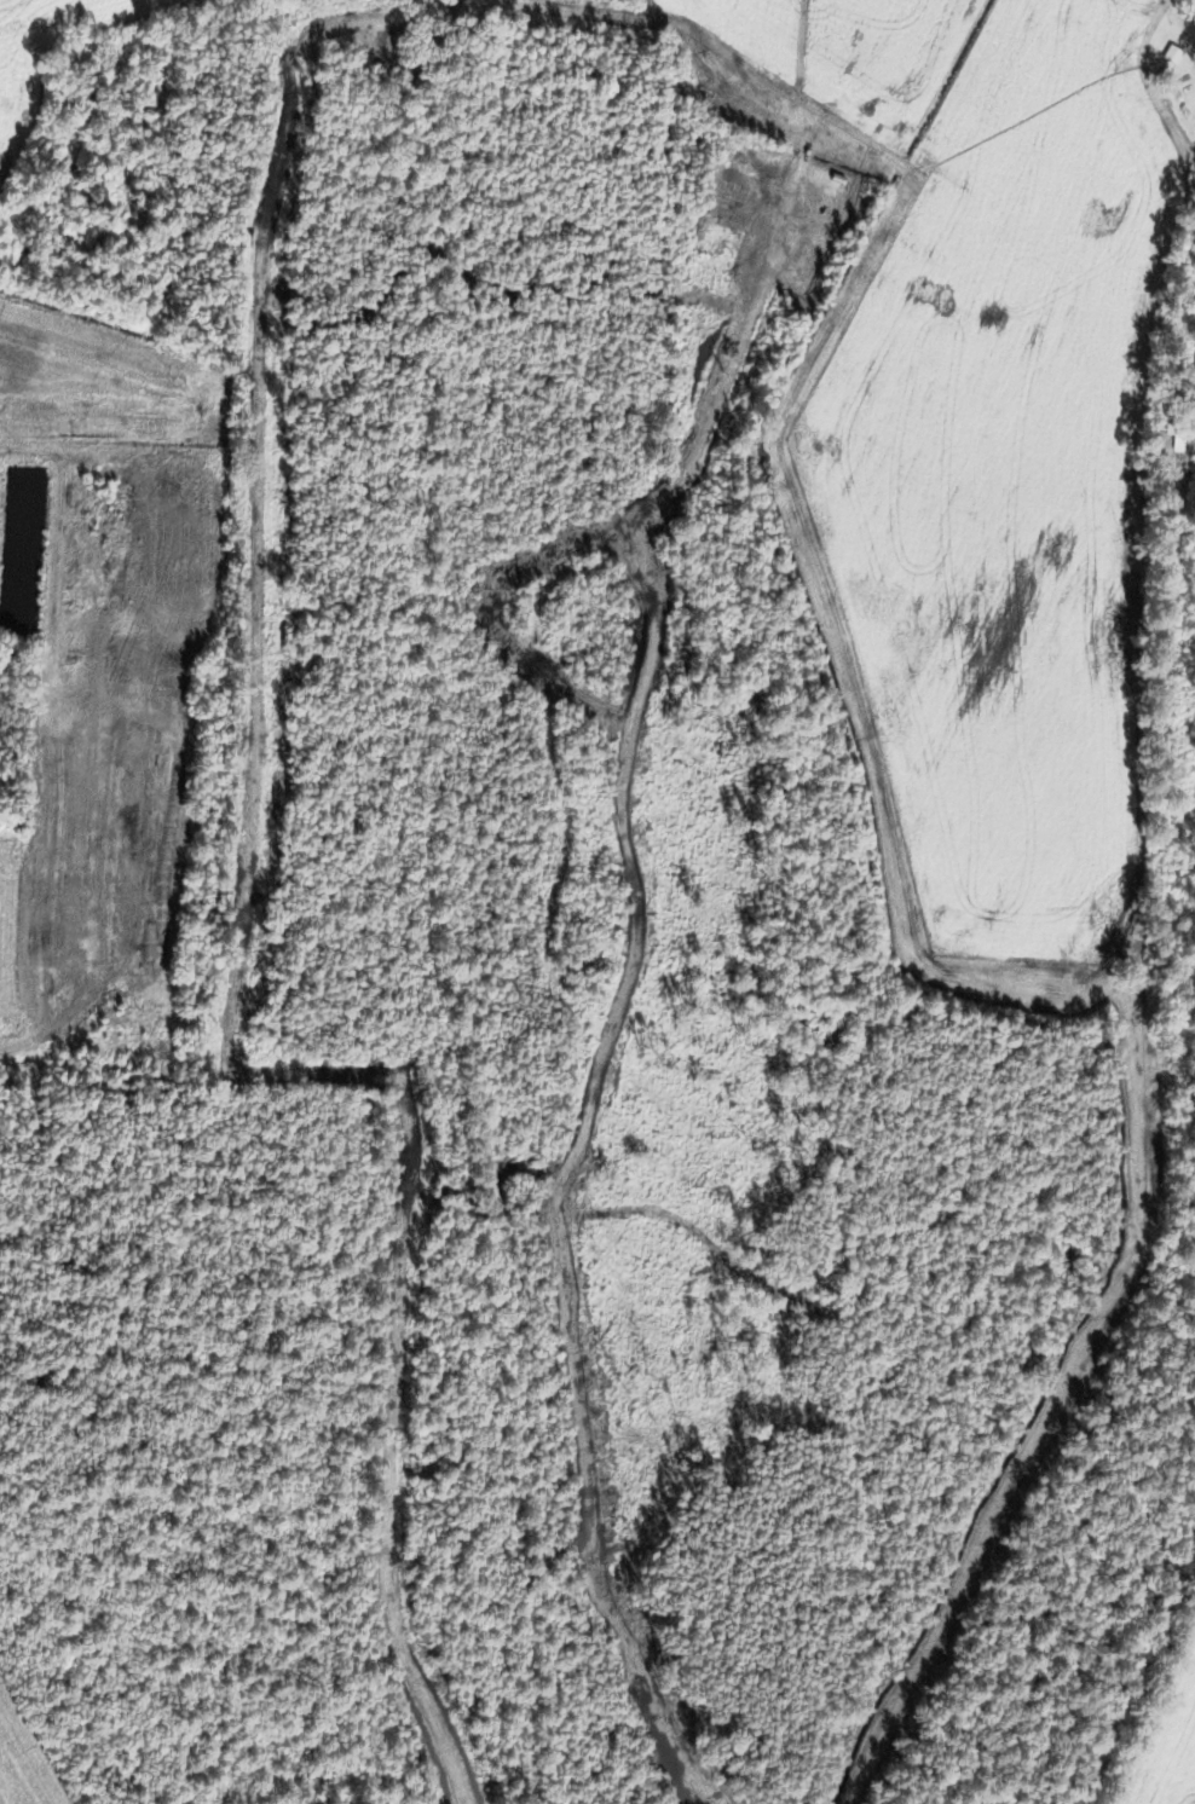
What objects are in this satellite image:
building: (65, 589)
building: (52, 796)
building: (99, 851)
building: (148, 854)
building: (44, 918)

